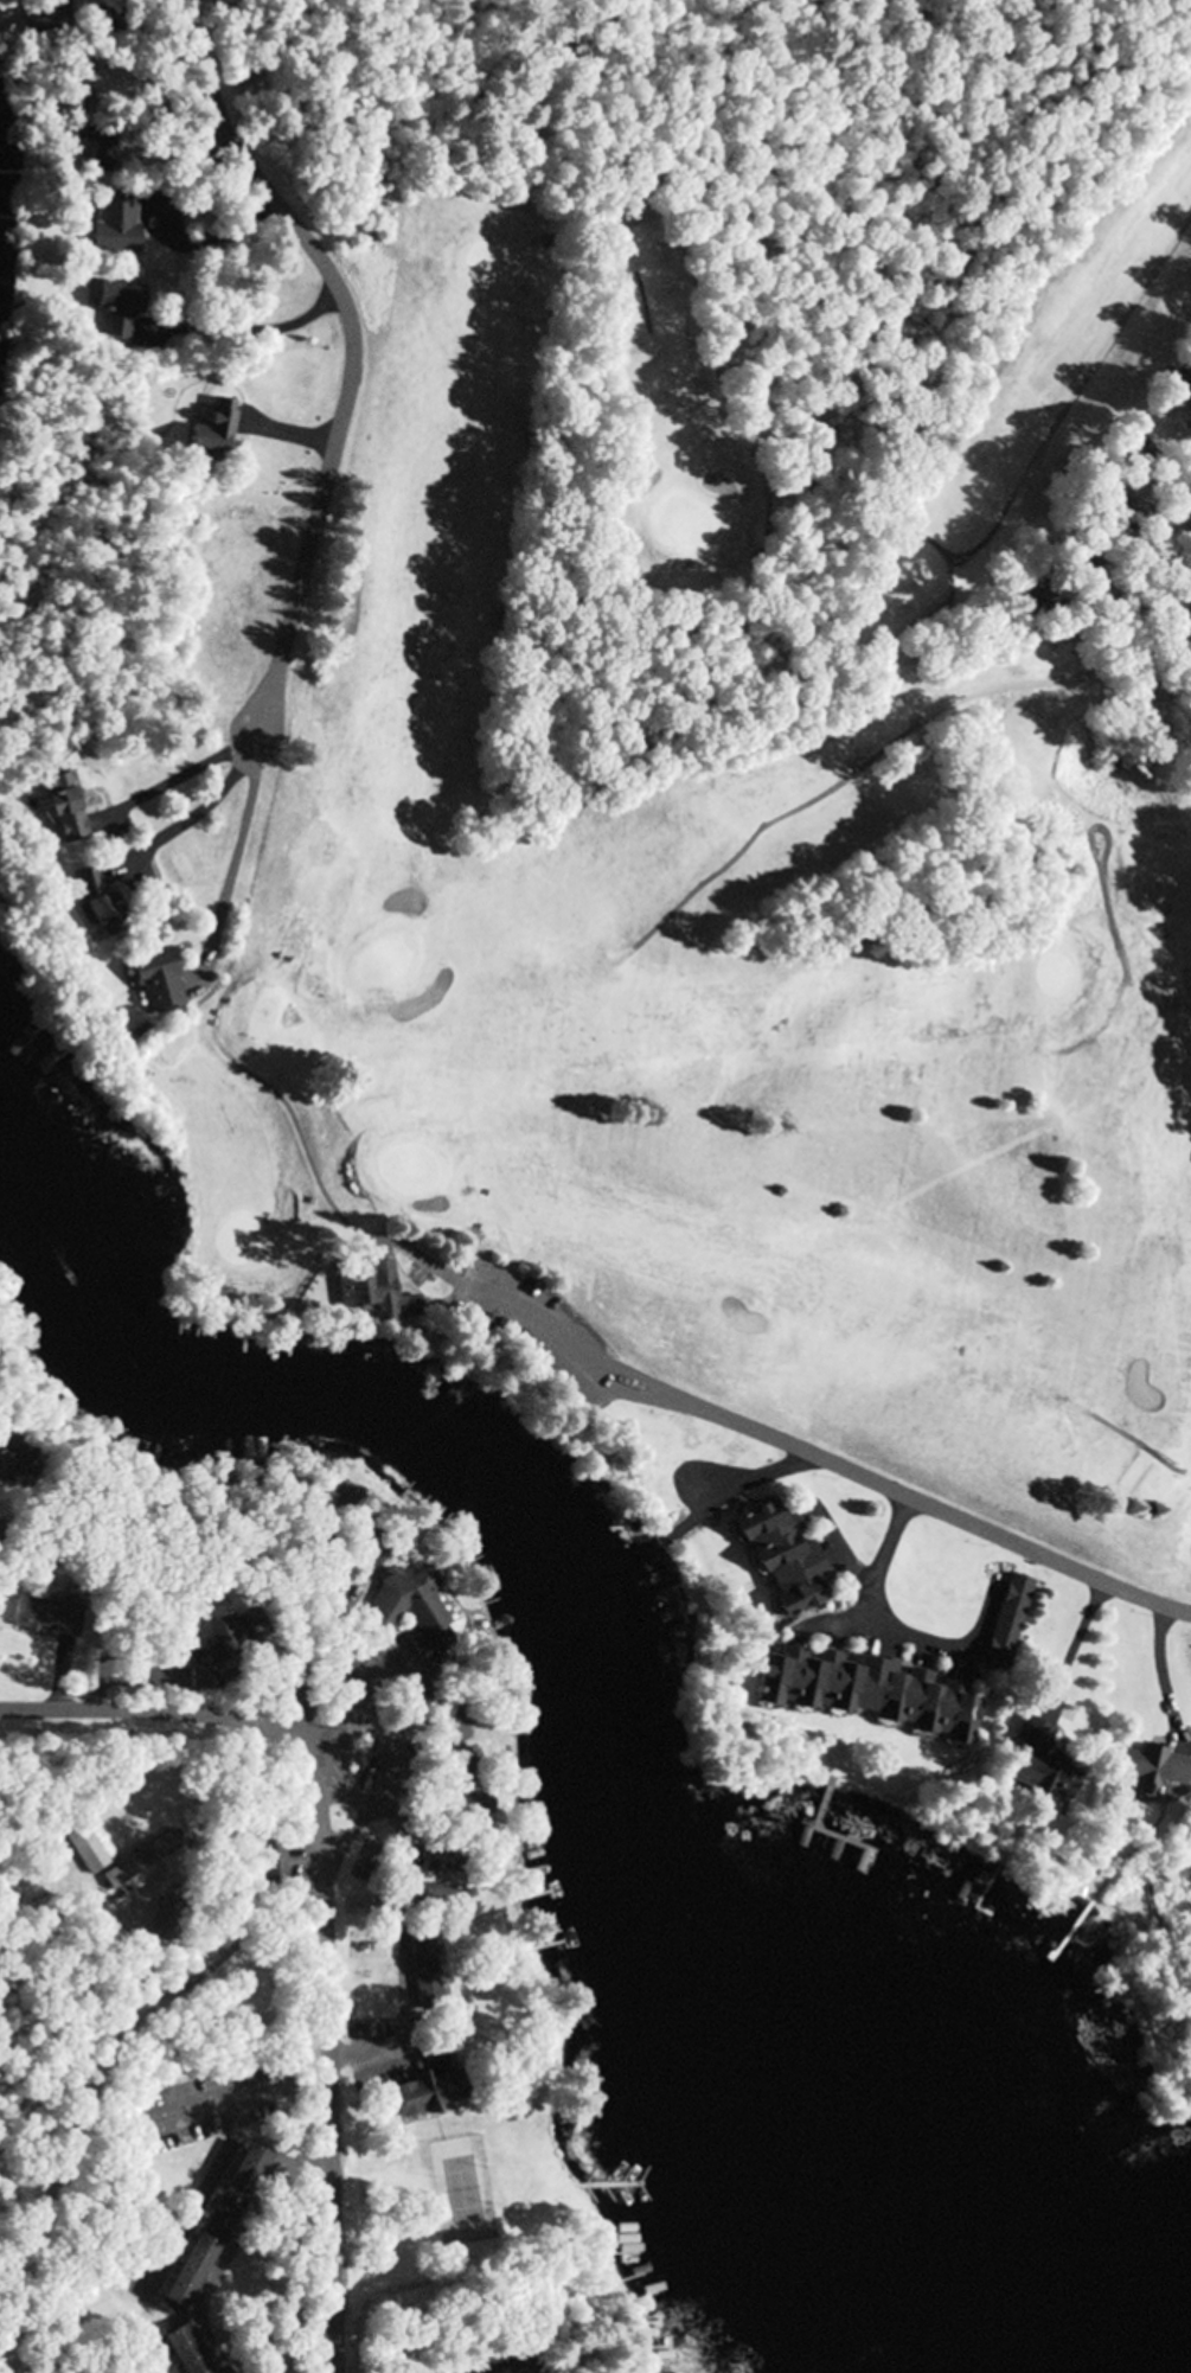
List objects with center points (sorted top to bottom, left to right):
building: (51, 14)
building: (100, 149)
building: (111, 224)
building: (115, 307)
road: (353, 353)
building: (209, 431)
building: (1121, 509)
park: (728, 759)
building: (57, 808)
building: (94, 902)
park: (384, 959)
park: (1051, 974)
building: (153, 981)
park: (406, 1165)
building: (363, 1290)
road: (129, 1497)
road: (921, 1502)
building: (776, 1556)
building: (402, 1607)
building: (1006, 1616)
building: (36, 1617)
building: (213, 1635)
river: (611, 1691)
building: (865, 1691)
road: (245, 1712)
building: (437, 1727)
building: (1037, 1763)
building: (1148, 1768)
building: (452, 1804)
building: (79, 1846)
building: (269, 1861)
building: (431, 1862)
building: (130, 1865)
building: (428, 1898)
building: (417, 1968)
building: (418, 2092)
road: (341, 2144)
building: (204, 2231)
building: (180, 2349)
river: (1171, 2359)
building: (488, 2361)

